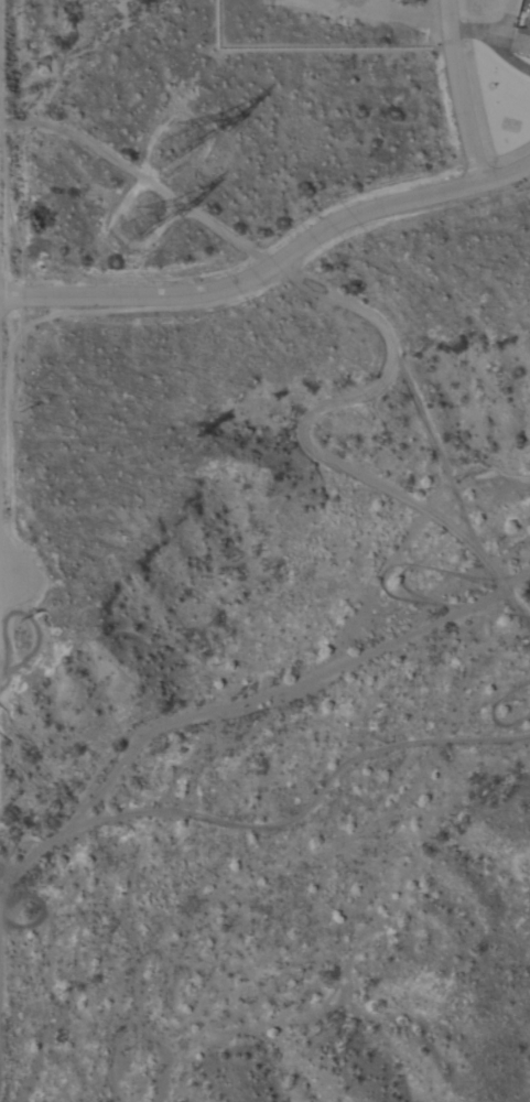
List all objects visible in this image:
building: (522, 40)
road: (457, 89)
power tower: (186, 139)
road: (139, 175)
power tower: (134, 229)
road: (274, 263)
road: (309, 445)
road: (3, 561)
road: (3, 588)
road: (3, 608)
road: (271, 830)

